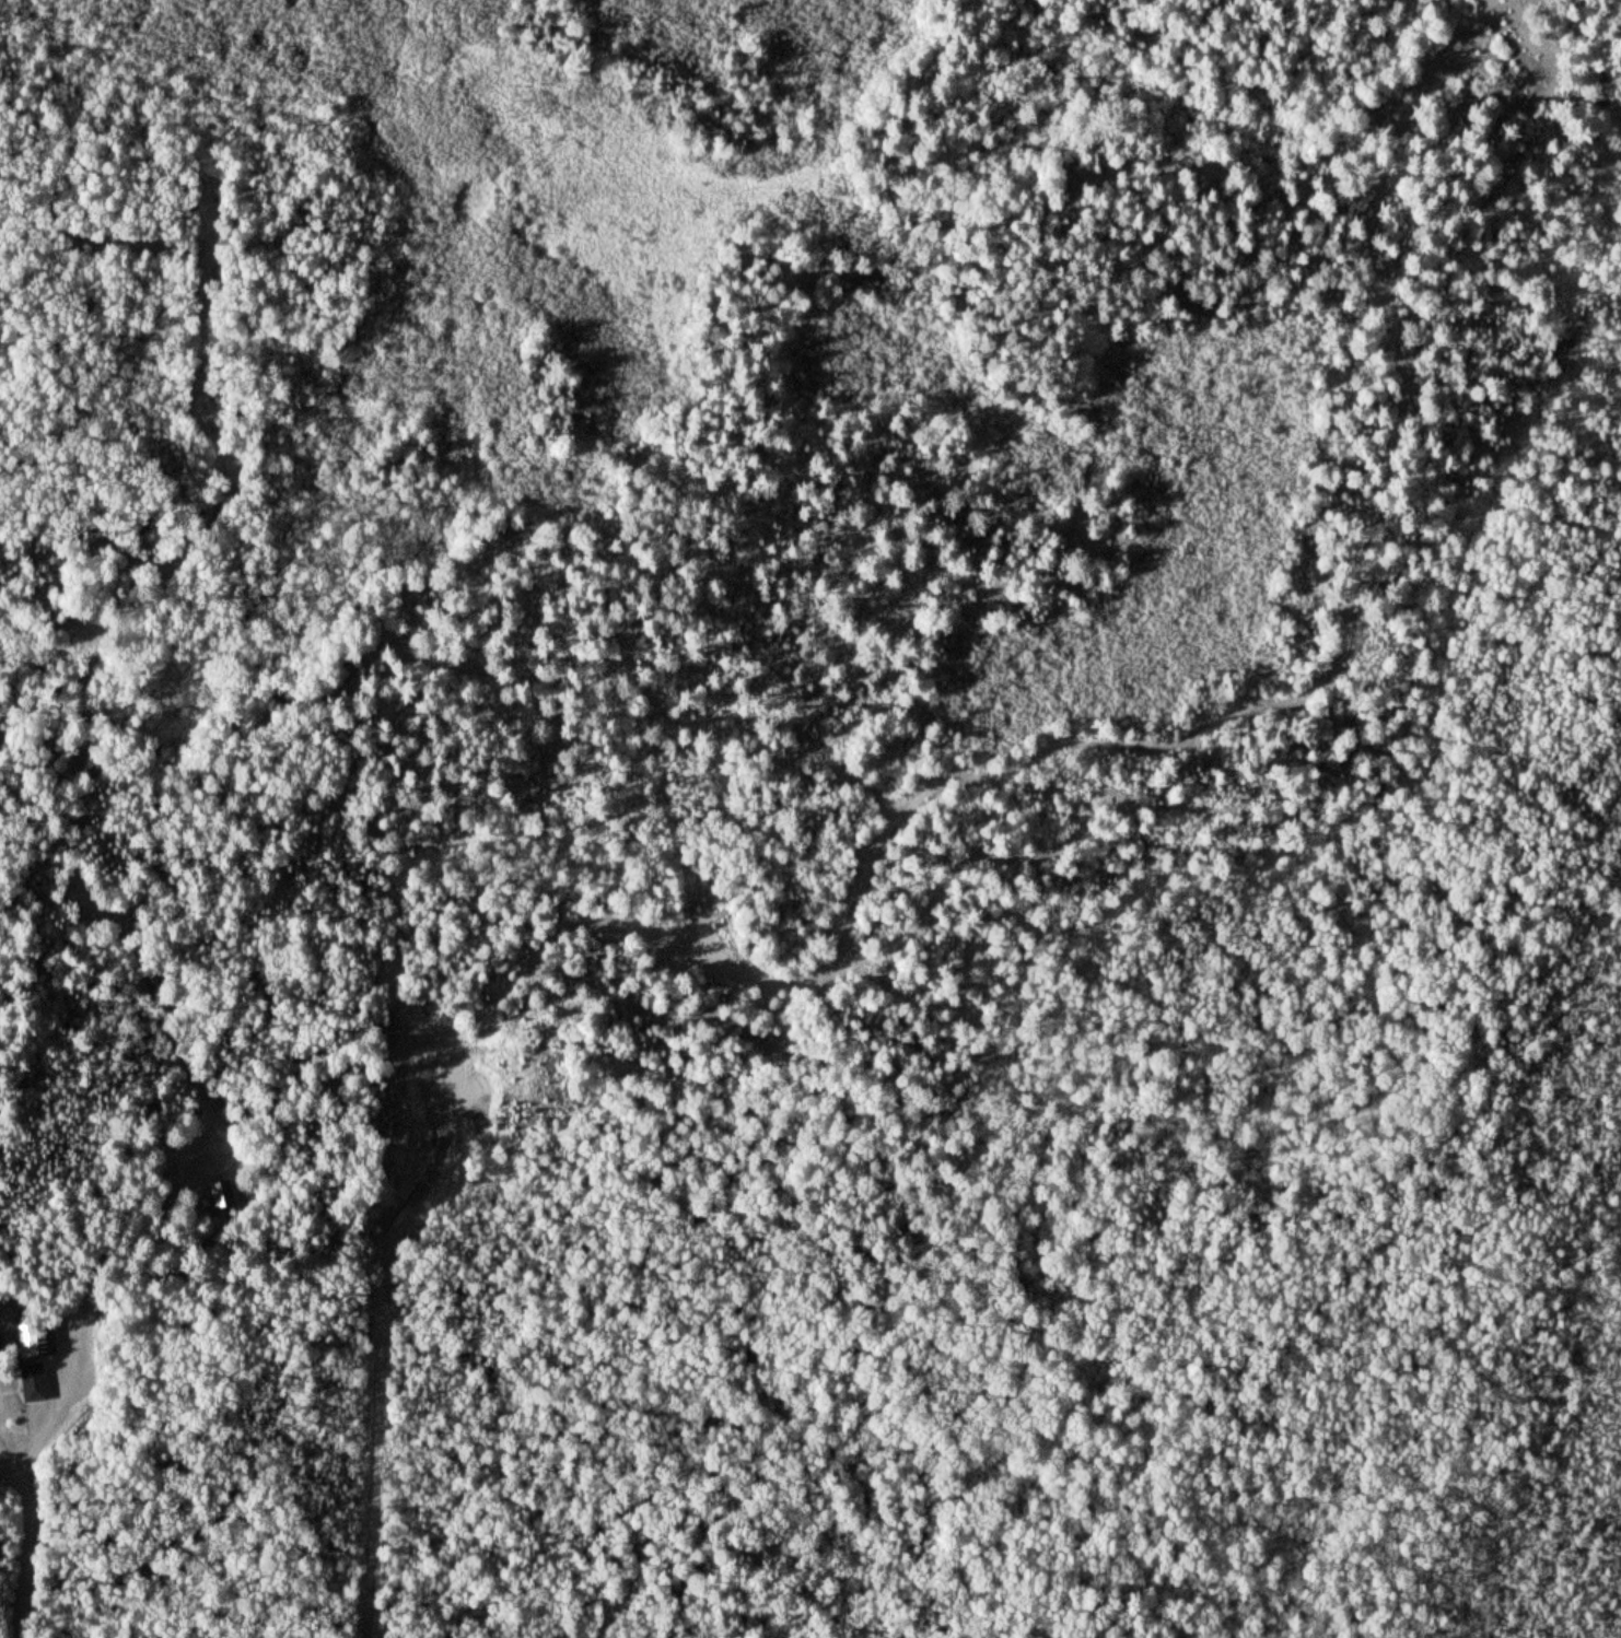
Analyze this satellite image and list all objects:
building: (24, 1341)
building: (33, 1384)
road: (19, 1548)

